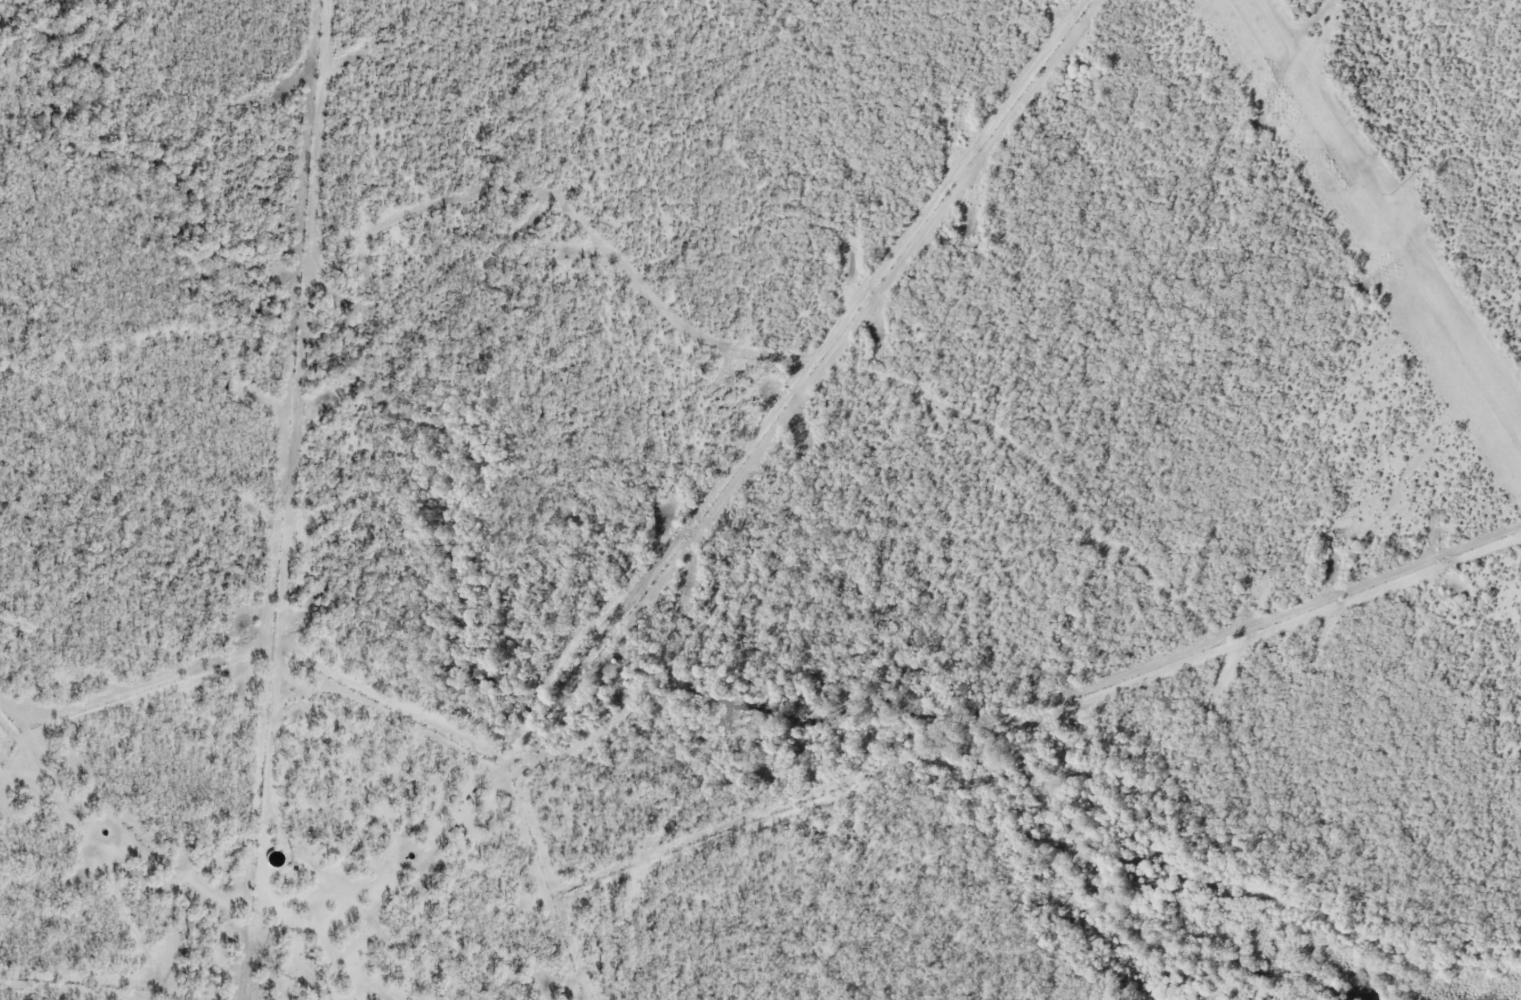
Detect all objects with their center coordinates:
power tower: (1390, 194)

